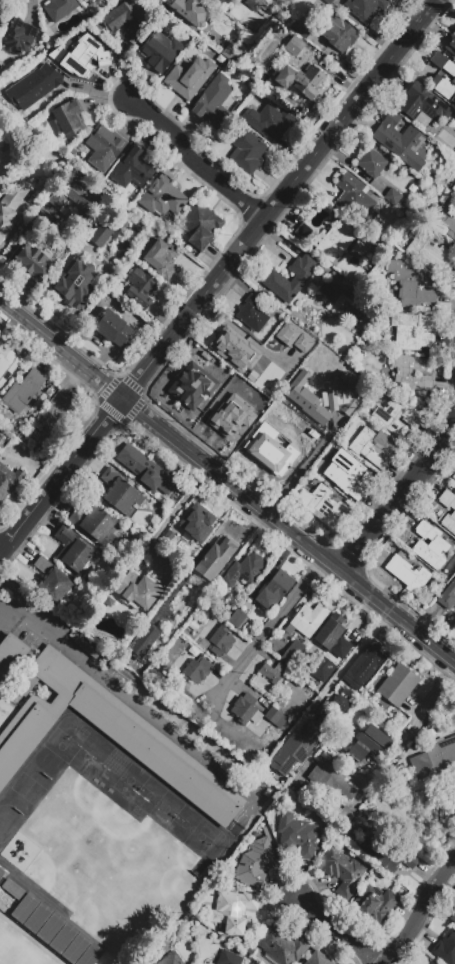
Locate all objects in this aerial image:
building: (86, 0)
building: (394, 0)
building: (220, 2)
building: (328, 2)
building: (254, 5)
building: (364, 8)
building: (59, 9)
building: (190, 11)
building: (127, 20)
building: (303, 30)
building: (337, 33)
building: (18, 37)
building: (451, 45)
building: (294, 47)
building: (159, 52)
building: (86, 56)
building: (437, 77)
building: (190, 78)
building: (301, 80)
building: (0, 85)
building: (33, 87)
building: (213, 102)
building: (422, 104)
building: (238, 106)
building: (68, 120)
building: (269, 122)
building: (400, 141)
building: (105, 149)
building: (247, 151)
building: (371, 163)
road: (194, 164)
building: (134, 168)
building: (454, 188)
building: (162, 197)
building: (393, 197)
building: (356, 199)
building: (75, 200)
building: (10, 207)
building: (444, 216)
building: (200, 225)
building: (303, 232)
building: (99, 236)
road: (22, 239)
building: (341, 243)
building: (429, 252)
building: (161, 259)
building: (33, 263)
road: (218, 277)
building: (274, 278)
building: (74, 284)
building: (410, 286)
building: (140, 289)
building: (329, 292)
building: (348, 293)
building: (252, 314)
building: (112, 329)
building: (285, 333)
building: (412, 339)
building: (229, 346)
road: (60, 348)
building: (7, 363)
building: (411, 373)
building: (260, 375)
building: (203, 381)
building: (22, 391)
building: (323, 396)
building: (52, 414)
building: (230, 416)
building: (395, 416)
building: (374, 447)
building: (269, 453)
road: (306, 466)
building: (322, 467)
building: (147, 471)
building: (454, 477)
building: (349, 478)
building: (9, 481)
road: (232, 484)
building: (121, 494)
road: (399, 496)
building: (323, 507)
road: (175, 508)
building: (453, 512)
building: (95, 526)
building: (195, 527)
building: (430, 546)
building: (72, 550)
building: (216, 558)
building: (245, 570)
building: (407, 574)
street lamp: (12, 575)
building: (55, 581)
building: (197, 581)
building: (139, 590)
building: (274, 590)
building: (213, 592)
building: (447, 596)
building: (227, 615)
road: (398, 617)
building: (236, 619)
building: (308, 620)
building: (193, 626)
parking lot: (43, 627)
road: (263, 631)
building: (333, 637)
building: (143, 641)
building: (220, 642)
building: (204, 644)
building: (292, 652)
road: (349, 662)
building: (365, 665)
building: (196, 670)
building: (320, 670)
building: (273, 672)
building: (398, 685)
road: (108, 688)
building: (245, 710)
building: (275, 718)
road: (411, 728)
building: (102, 729)
building: (307, 737)
building: (368, 744)
building: (434, 759)
building: (272, 765)
building: (330, 780)
park: (165, 809)
building: (345, 816)
building: (298, 835)
building: (384, 851)
building: (256, 864)
building: (341, 871)
building: (1, 873)
building: (13, 889)
building: (374, 904)
road: (418, 907)
building: (25, 908)
building: (233, 911)
building: (38, 918)
building: (452, 918)
building: (51, 928)
road: (337, 928)
building: (200, 937)
building: (64, 939)
road: (27, 943)
building: (280, 947)
building: (76, 948)
building: (446, 948)
building: (90, 955)
building: (228, 958)
building: (171, 959)
building: (317, 959)
building: (434, 963)
building: (435, 963)

